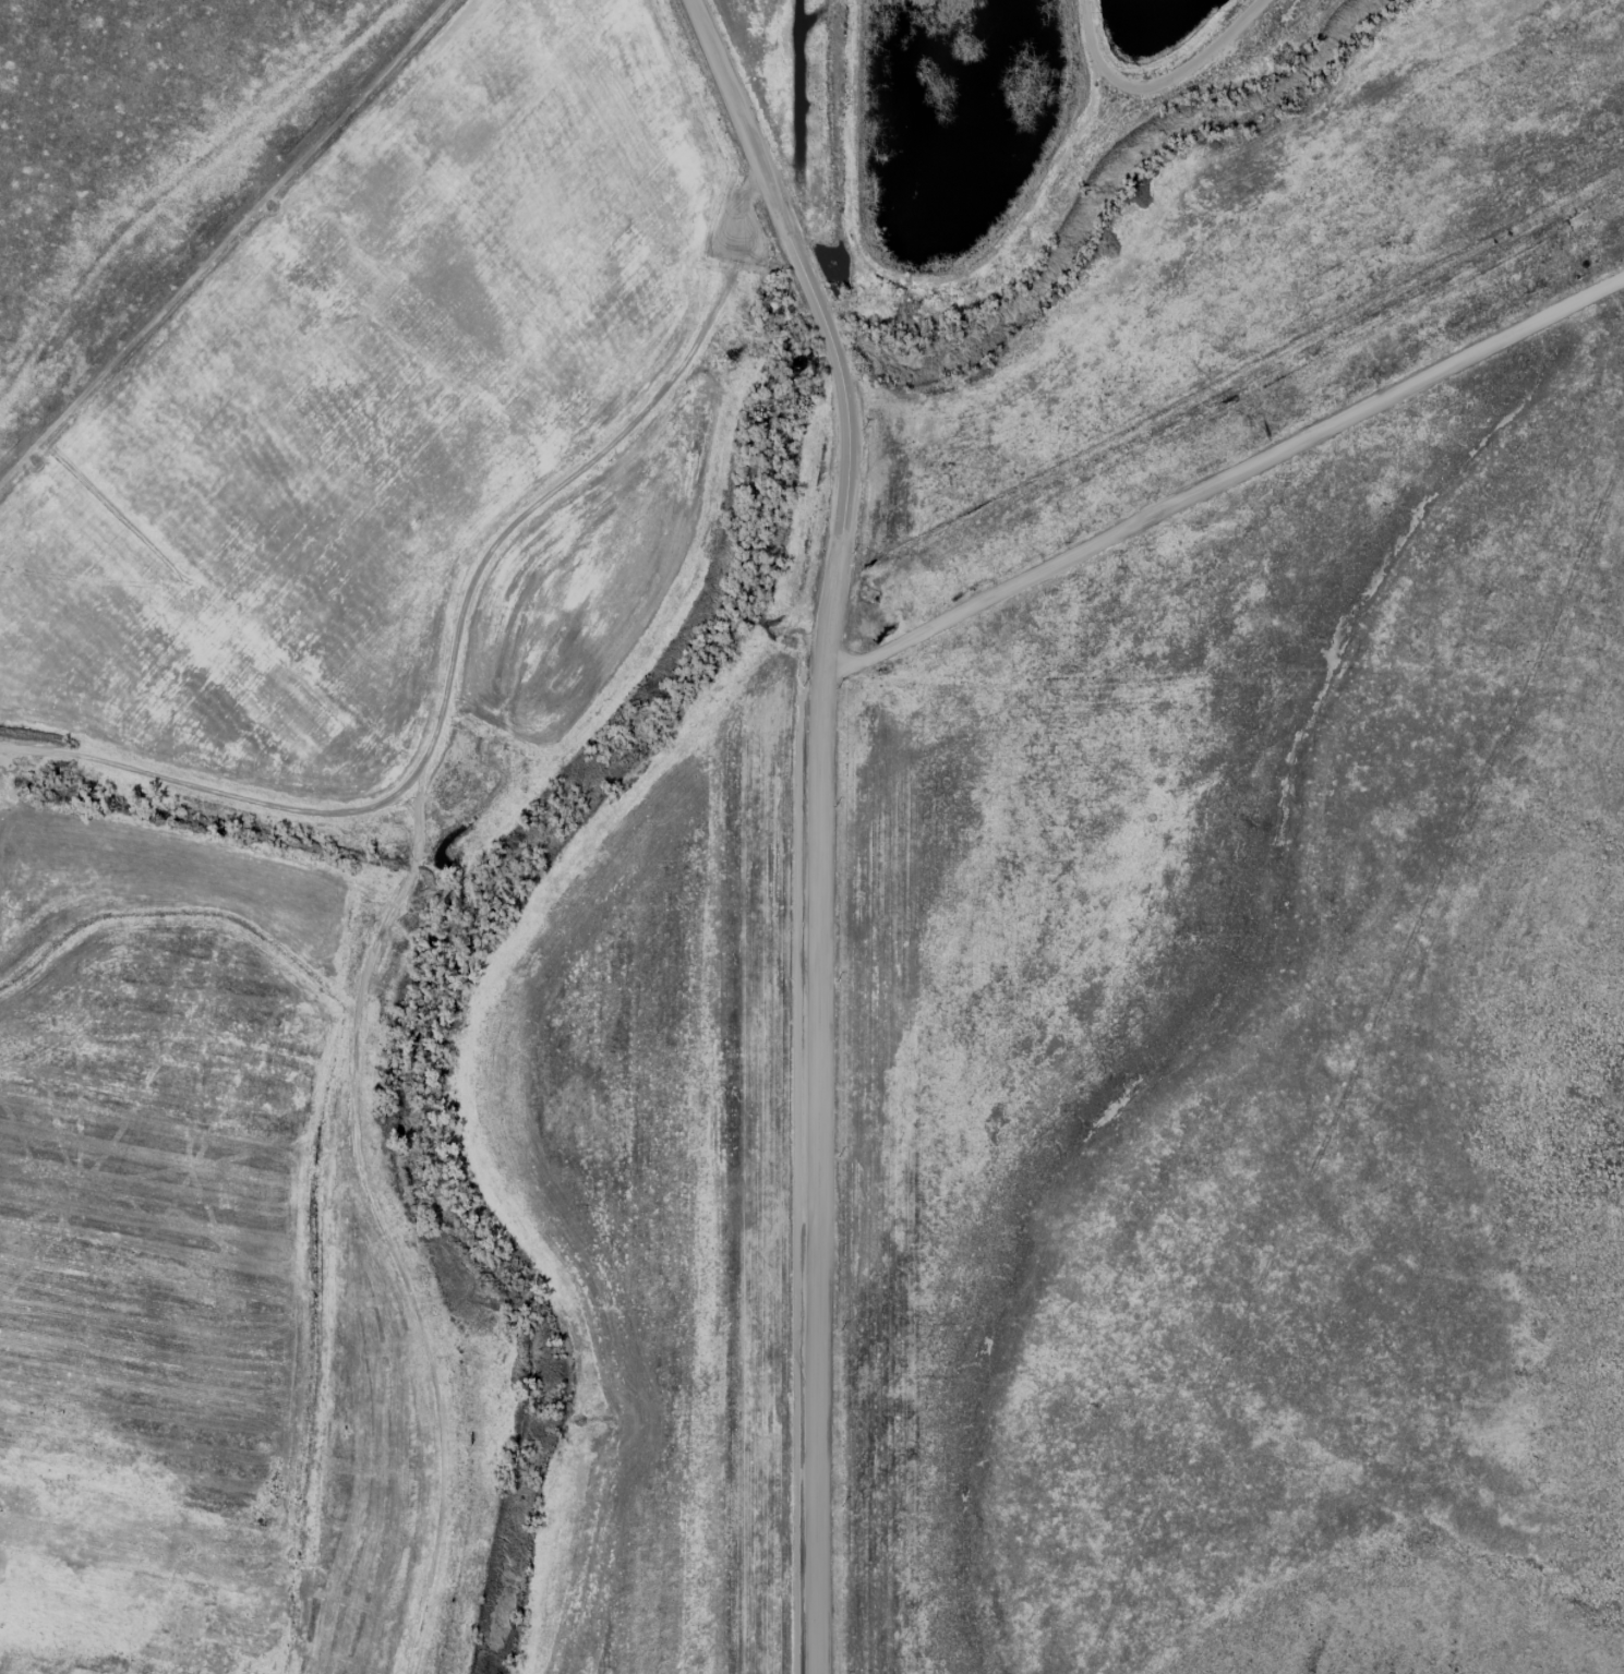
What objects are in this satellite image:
road: (1155, 82)
road: (1218, 471)
road: (818, 821)

